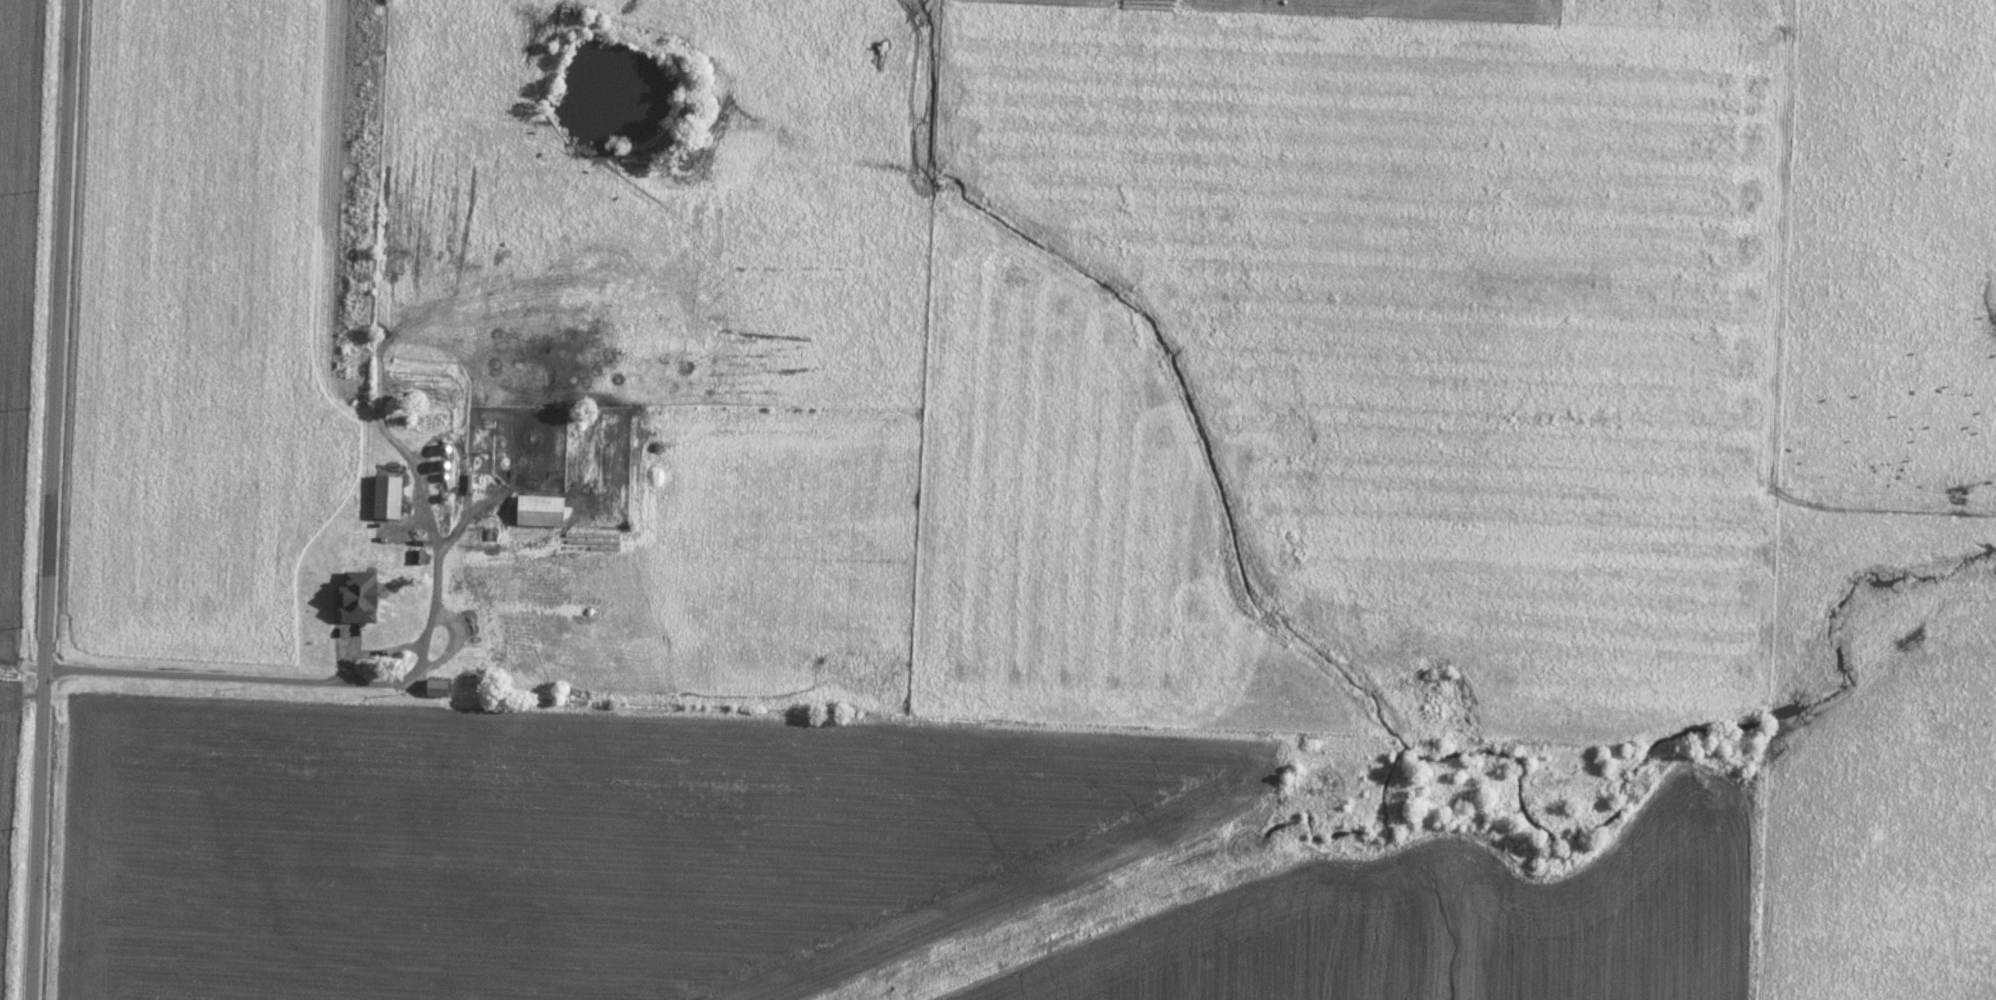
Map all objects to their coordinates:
building: (385, 496)
road: (52, 500)
building: (538, 510)
building: (479, 590)
building: (535, 627)
building: (373, 638)
road: (306, 682)
building: (436, 687)

